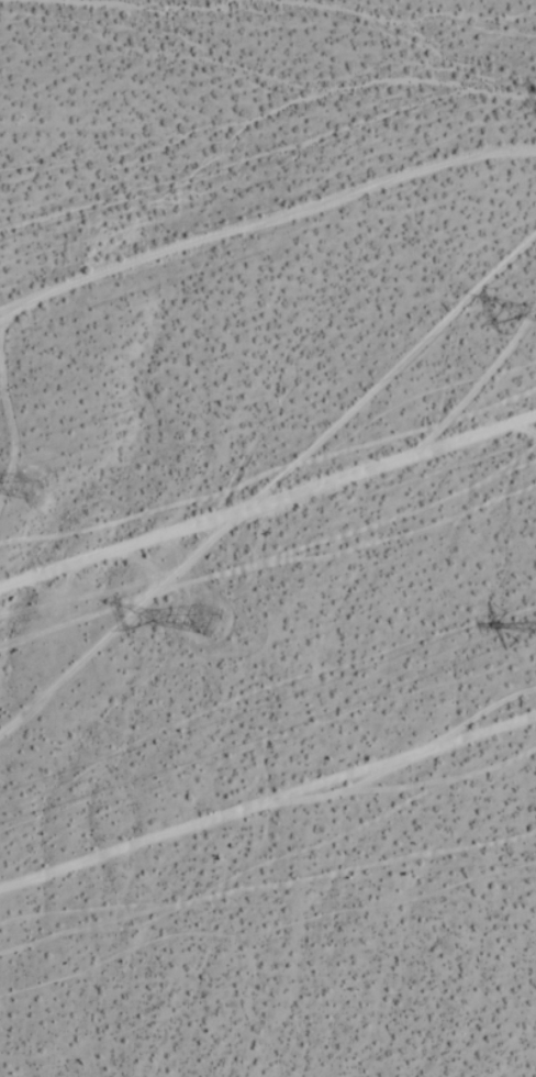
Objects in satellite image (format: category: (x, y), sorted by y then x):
power tower: (37, 479)
road: (273, 481)
road: (267, 489)
power tower: (210, 624)
road: (268, 795)

